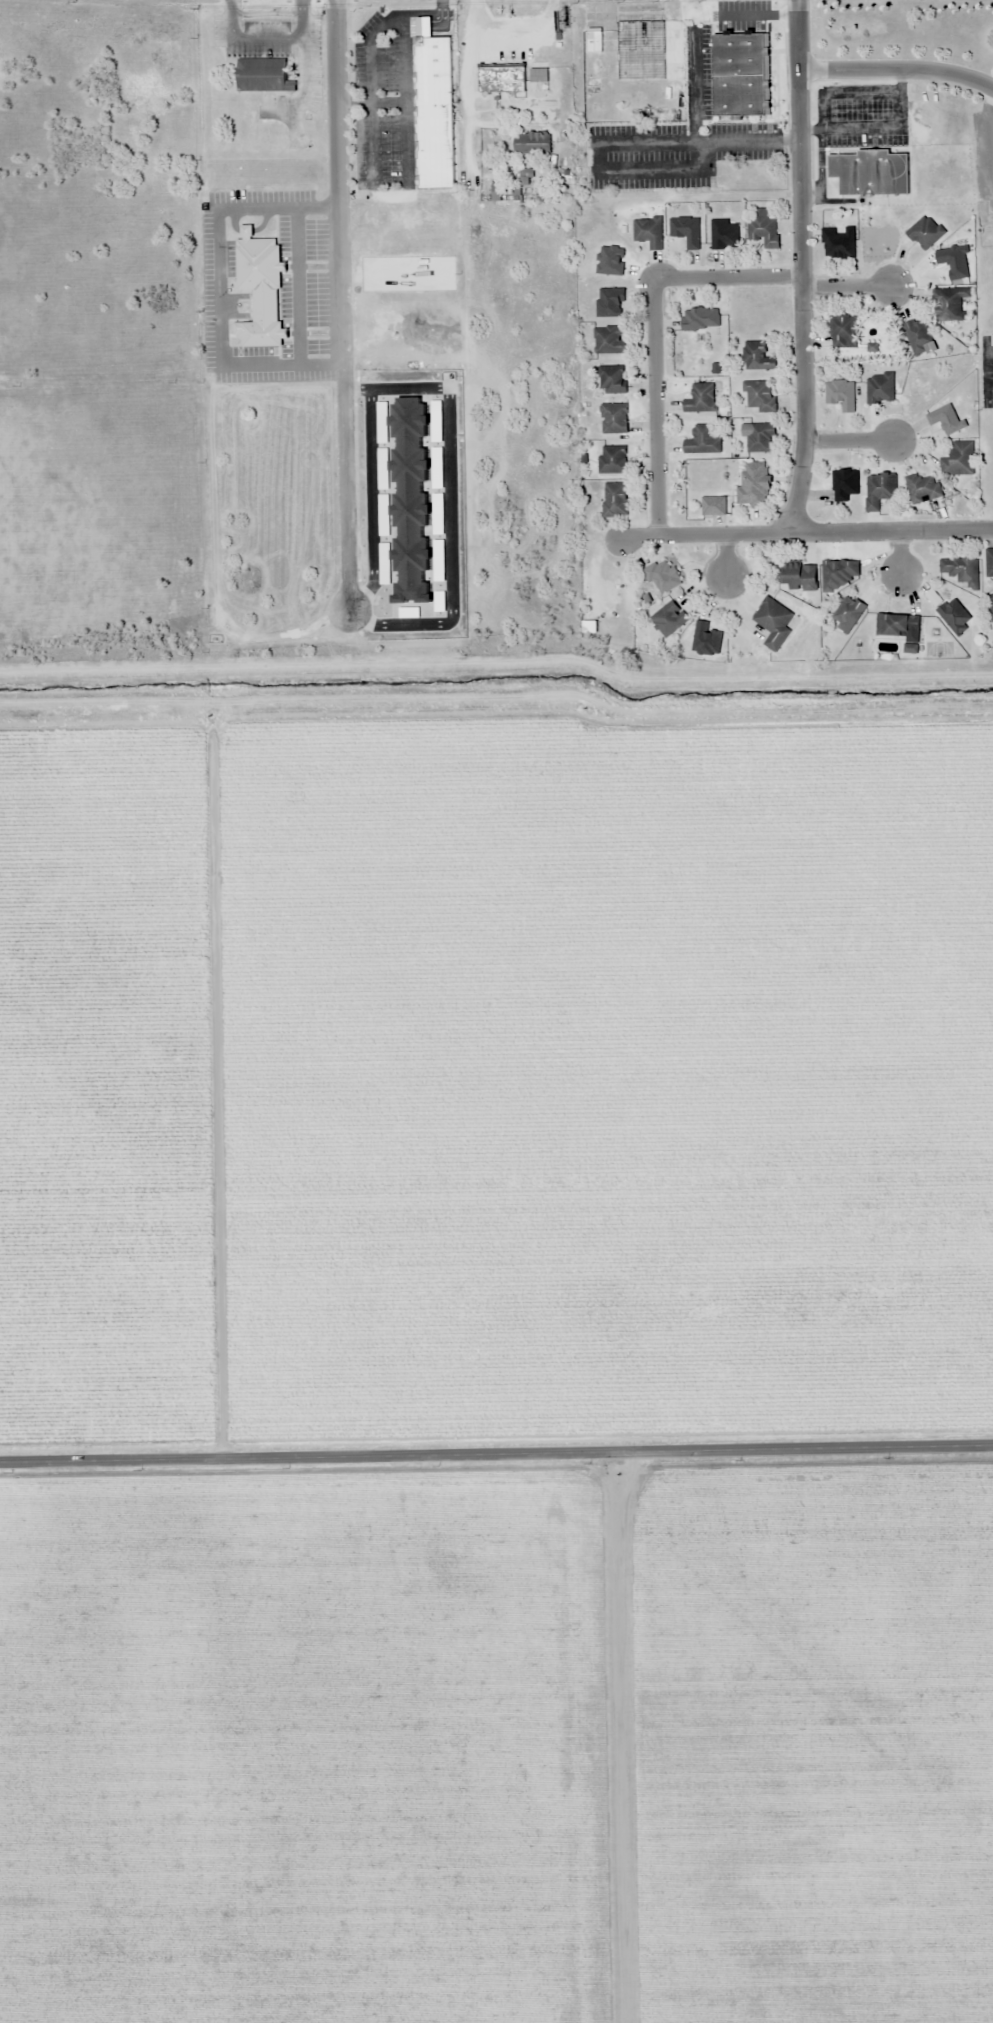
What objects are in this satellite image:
building: (594, 40)
building: (640, 48)
road: (899, 69)
building: (262, 74)
building: (538, 75)
building: (741, 75)
building: (501, 80)
building: (434, 111)
building: (532, 143)
building: (870, 172)
building: (763, 228)
building: (686, 231)
building: (649, 232)
building: (925, 232)
building: (724, 234)
building: (838, 242)
building: (954, 261)
road: (806, 266)
road: (730, 278)
building: (259, 287)
road: (850, 289)
building: (610, 302)
building: (953, 304)
building: (700, 319)
building: (843, 332)
building: (918, 336)
building: (610, 341)
building: (757, 357)
building: (612, 380)
building: (880, 389)
building: (841, 394)
building: (760, 395)
building: (701, 399)
road: (655, 406)
building: (614, 418)
building: (761, 438)
building: (702, 442)
road: (852, 442)
building: (613, 460)
building: (959, 460)
building: (754, 484)
building: (845, 484)
building: (923, 488)
building: (879, 490)
building: (615, 500)
building: (713, 506)
road: (804, 531)
road: (903, 553)
road: (726, 554)
building: (989, 562)
building: (961, 570)
building: (839, 574)
building: (662, 577)
building: (800, 577)
building: (933, 598)
building: (990, 602)
building: (955, 616)
building: (669, 619)
building: (775, 623)
building: (898, 626)
building: (707, 640)
road: (496, 1463)

